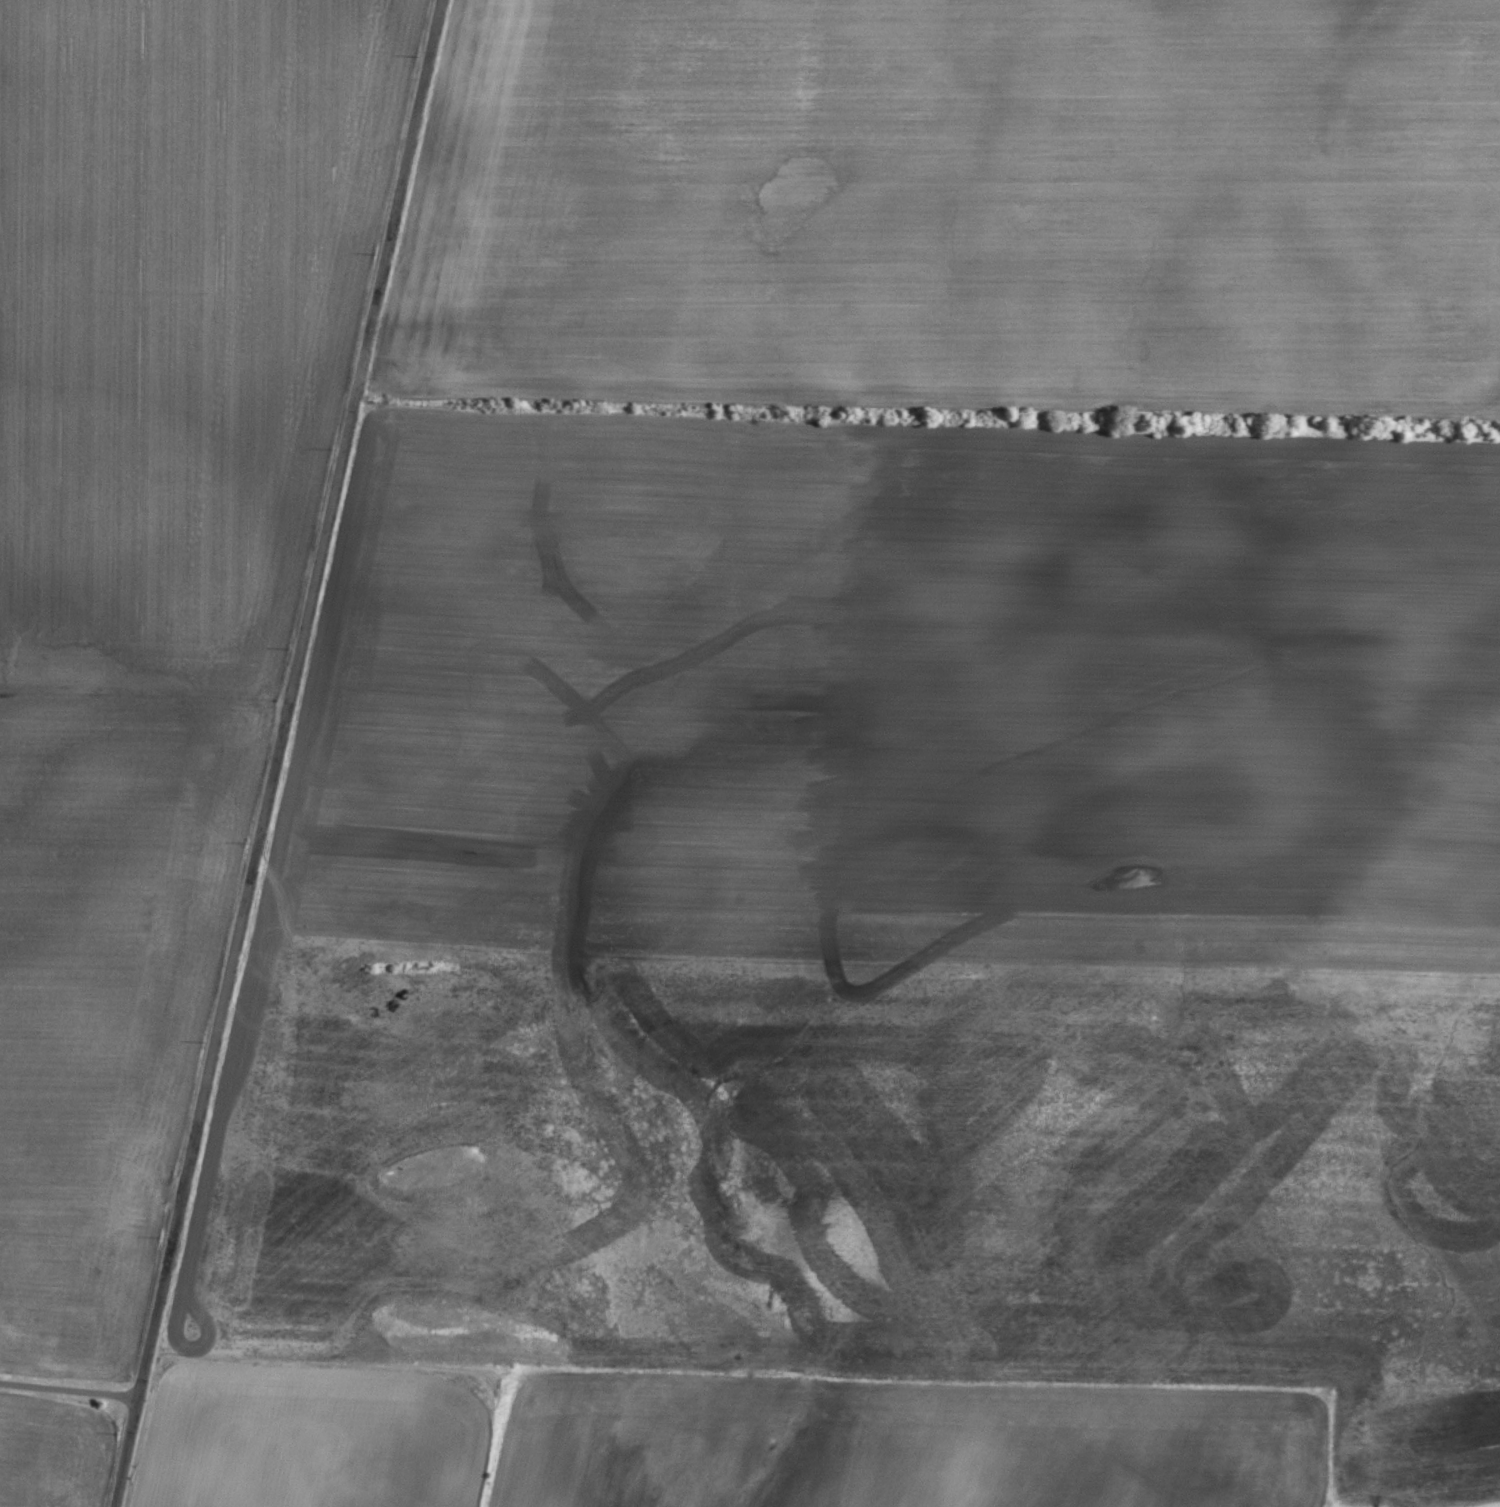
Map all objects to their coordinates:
road: (276, 753)
road: (67, 1391)

